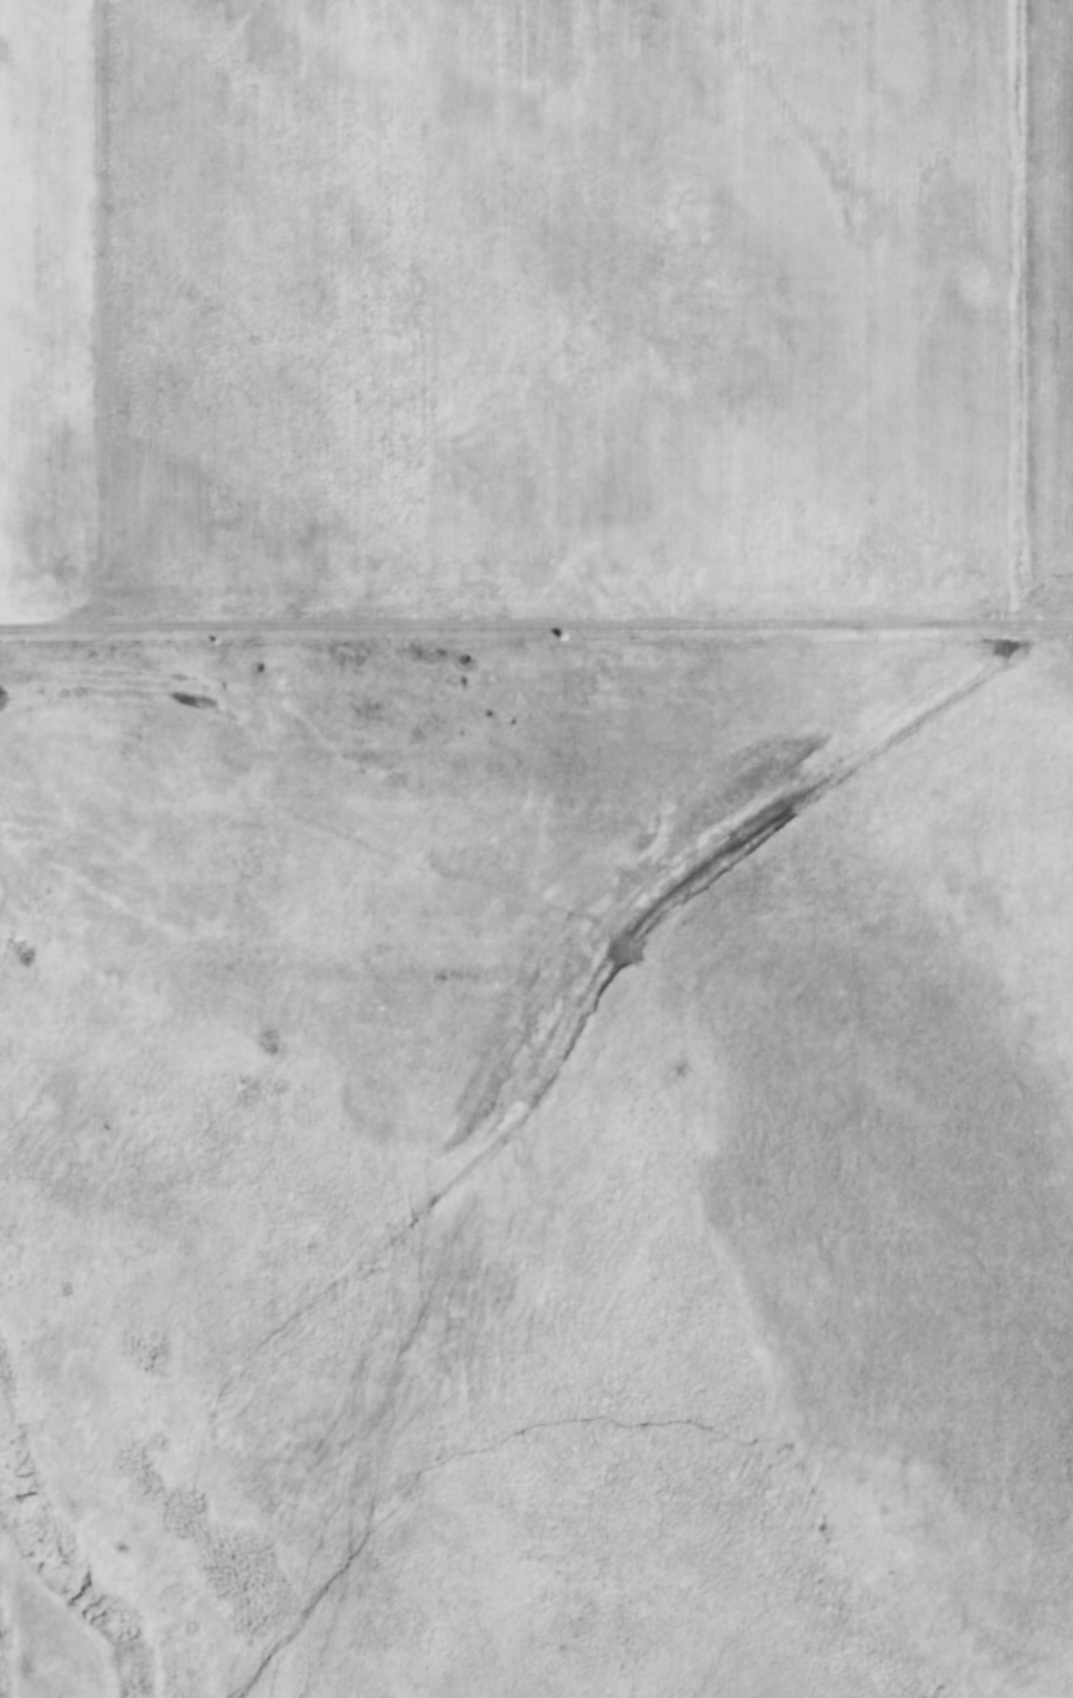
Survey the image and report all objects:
road: (422, 310)
road: (536, 619)

